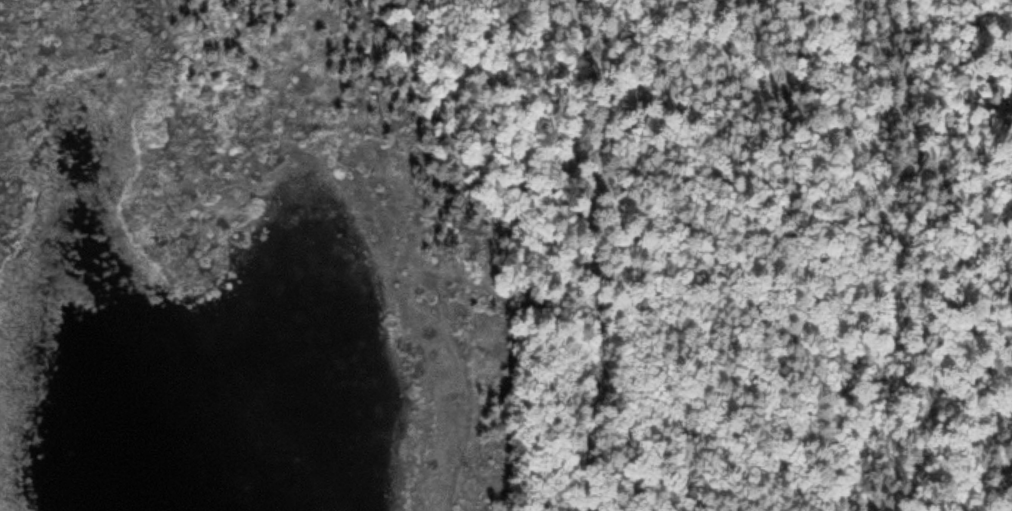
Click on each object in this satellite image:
road: (600, 253)

